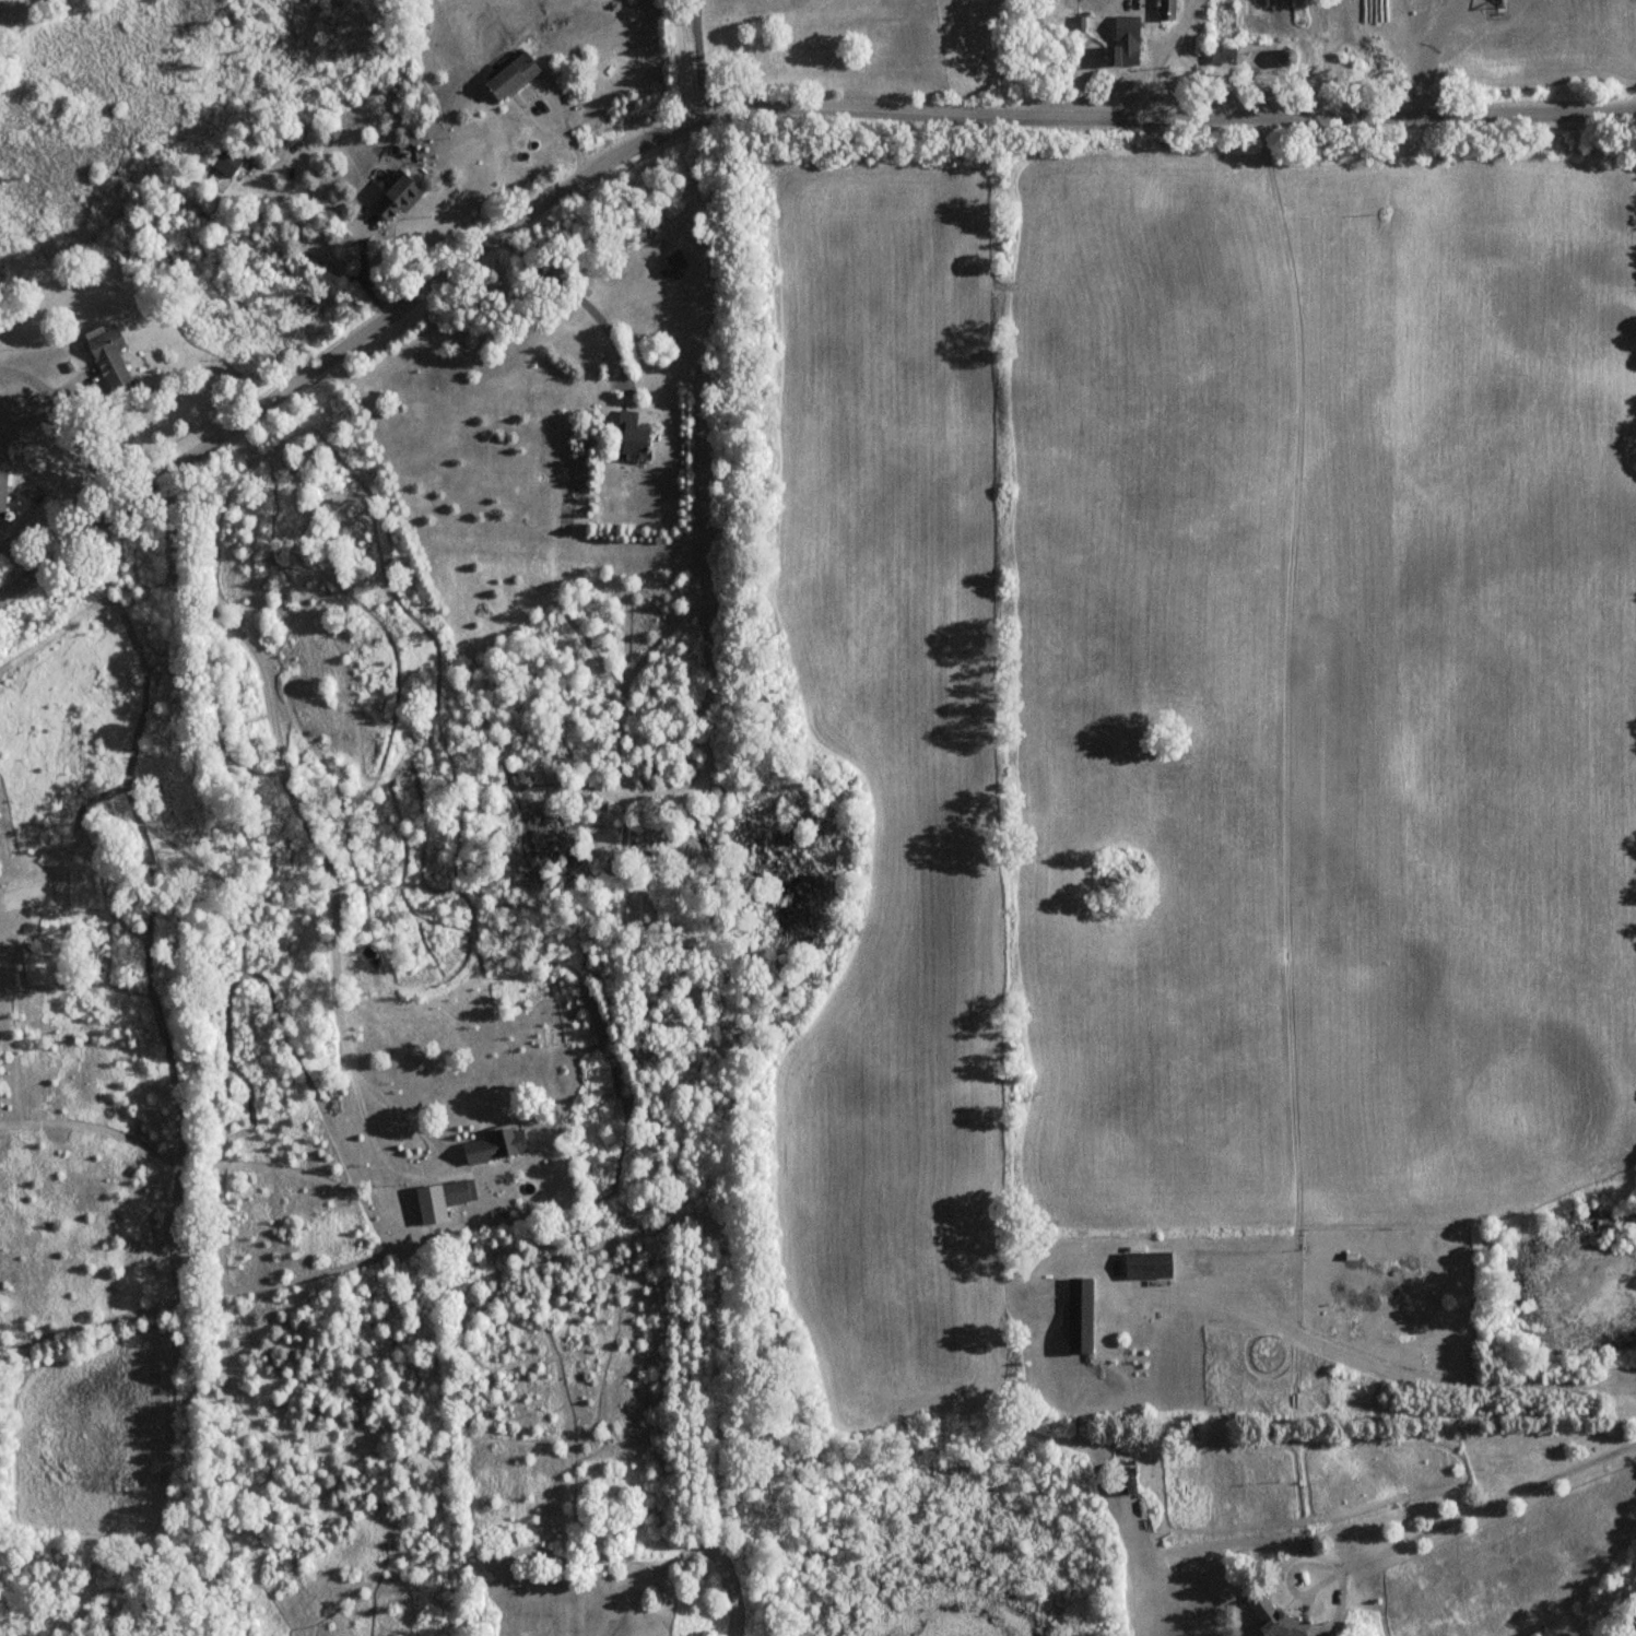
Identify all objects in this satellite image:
building: (1222, 32)
building: (1120, 42)
road: (695, 59)
road: (678, 62)
building: (505, 75)
road: (743, 109)
building: (229, 161)
building: (401, 198)
building: (663, 268)
building: (109, 360)
road: (70, 427)
building: (633, 436)
building: (2, 492)
road: (328, 895)
building: (492, 1147)
building: (452, 1193)
building: (1146, 1266)
building: (1078, 1315)
road: (1380, 1367)
building: (1122, 1480)
road: (1492, 1506)

